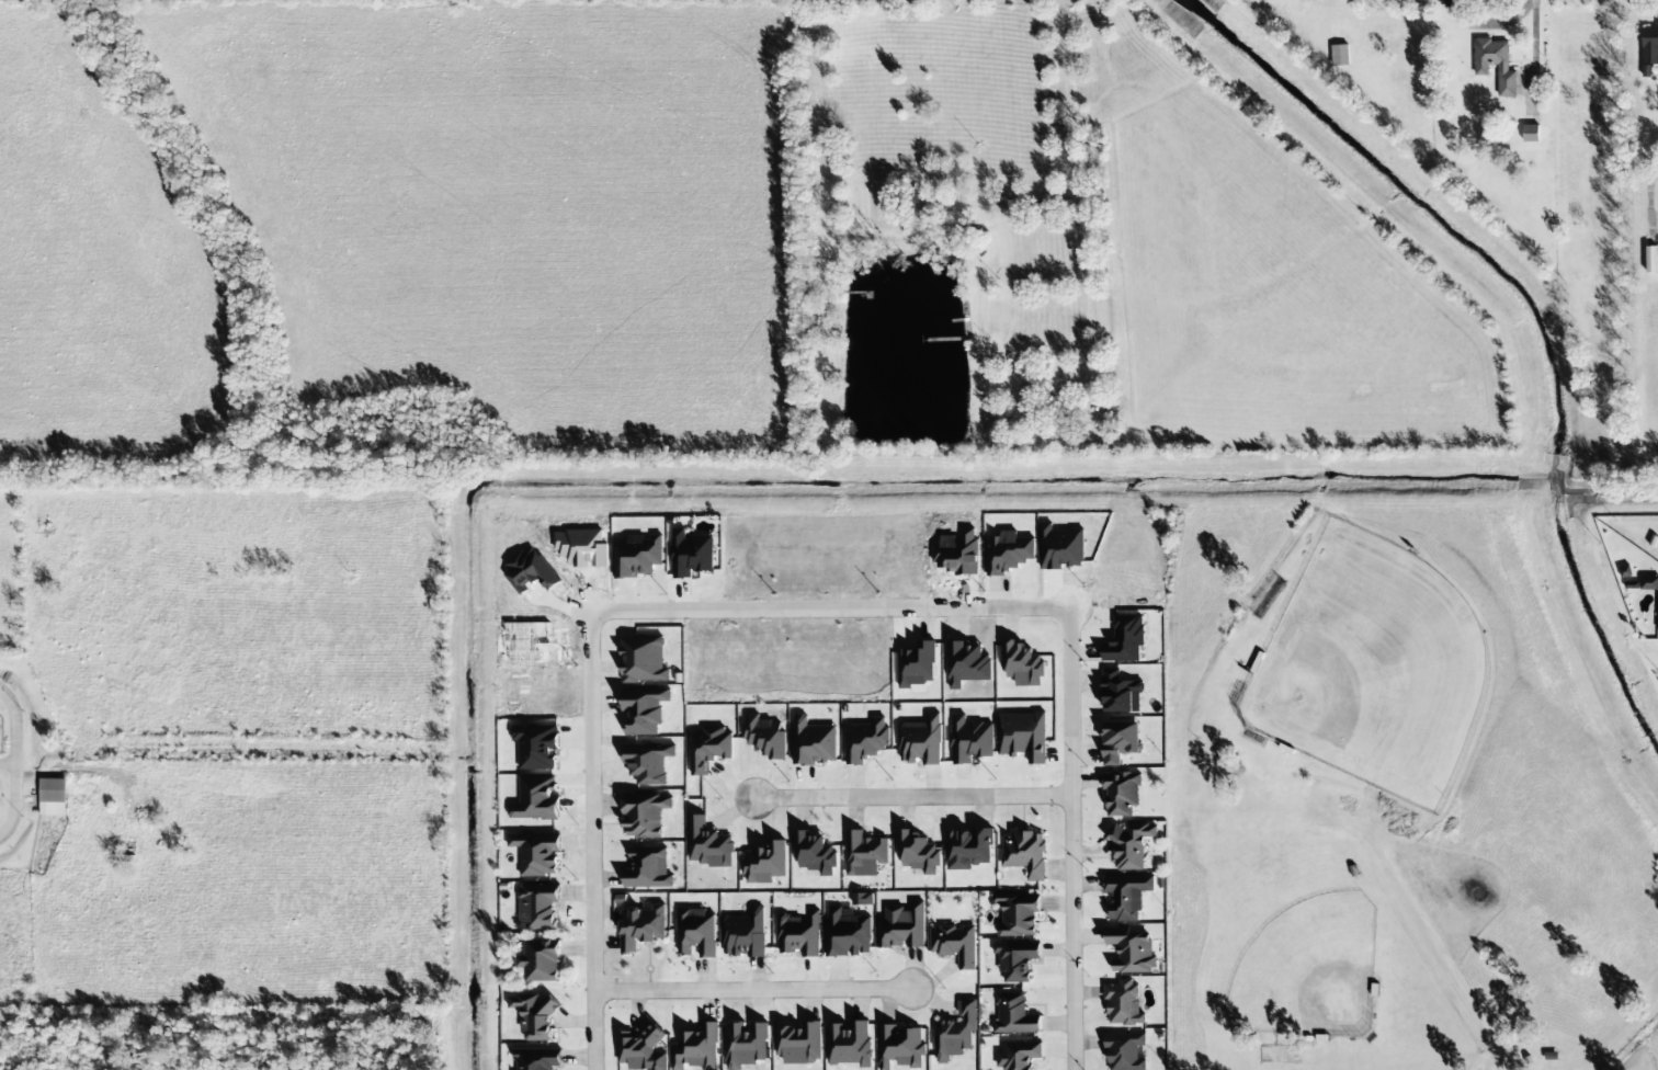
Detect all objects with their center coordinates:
building: (1649, 46)
building: (1340, 56)
building: (1495, 65)
building: (1530, 134)
building: (1650, 262)
building: (1008, 553)
building: (690, 554)
building: (1624, 571)
building: (1648, 583)
building: (1657, 608)
building: (1124, 639)
building: (644, 659)
building: (966, 664)
building: (1022, 664)
building: (916, 665)
building: (1120, 693)
building: (644, 710)
building: (1022, 736)
building: (764, 737)
building: (866, 740)
building: (969, 740)
building: (920, 741)
building: (1120, 741)
building: (813, 742)
building: (536, 747)
building: (708, 748)
building: (1121, 793)
road: (909, 794)
building: (53, 797)
building: (535, 798)
building: (645, 815)
road: (1068, 839)
building: (707, 844)
building: (1129, 845)
building: (968, 849)
building: (536, 853)
building: (814, 853)
building: (917, 853)
building: (1025, 853)
building: (864, 854)
building: (764, 863)
building: (648, 869)
building: (1126, 896)
building: (862, 899)
building: (537, 906)
building: (1018, 914)
building: (640, 926)
building: (901, 926)
road: (591, 930)
building: (695, 932)
building: (743, 934)
building: (798, 934)
building: (847, 934)
building: (954, 944)
building: (1131, 949)
building: (1015, 959)
building: (538, 960)
road: (752, 988)
building: (1123, 1003)
building: (1014, 1015)
building: (534, 1016)
building: (955, 1033)
building: (798, 1043)
building: (745, 1044)
building: (849, 1044)
building: (899, 1047)
building: (696, 1048)
building: (641, 1050)
building: (1124, 1051)
building: (1018, 1055)
building: (537, 1063)

